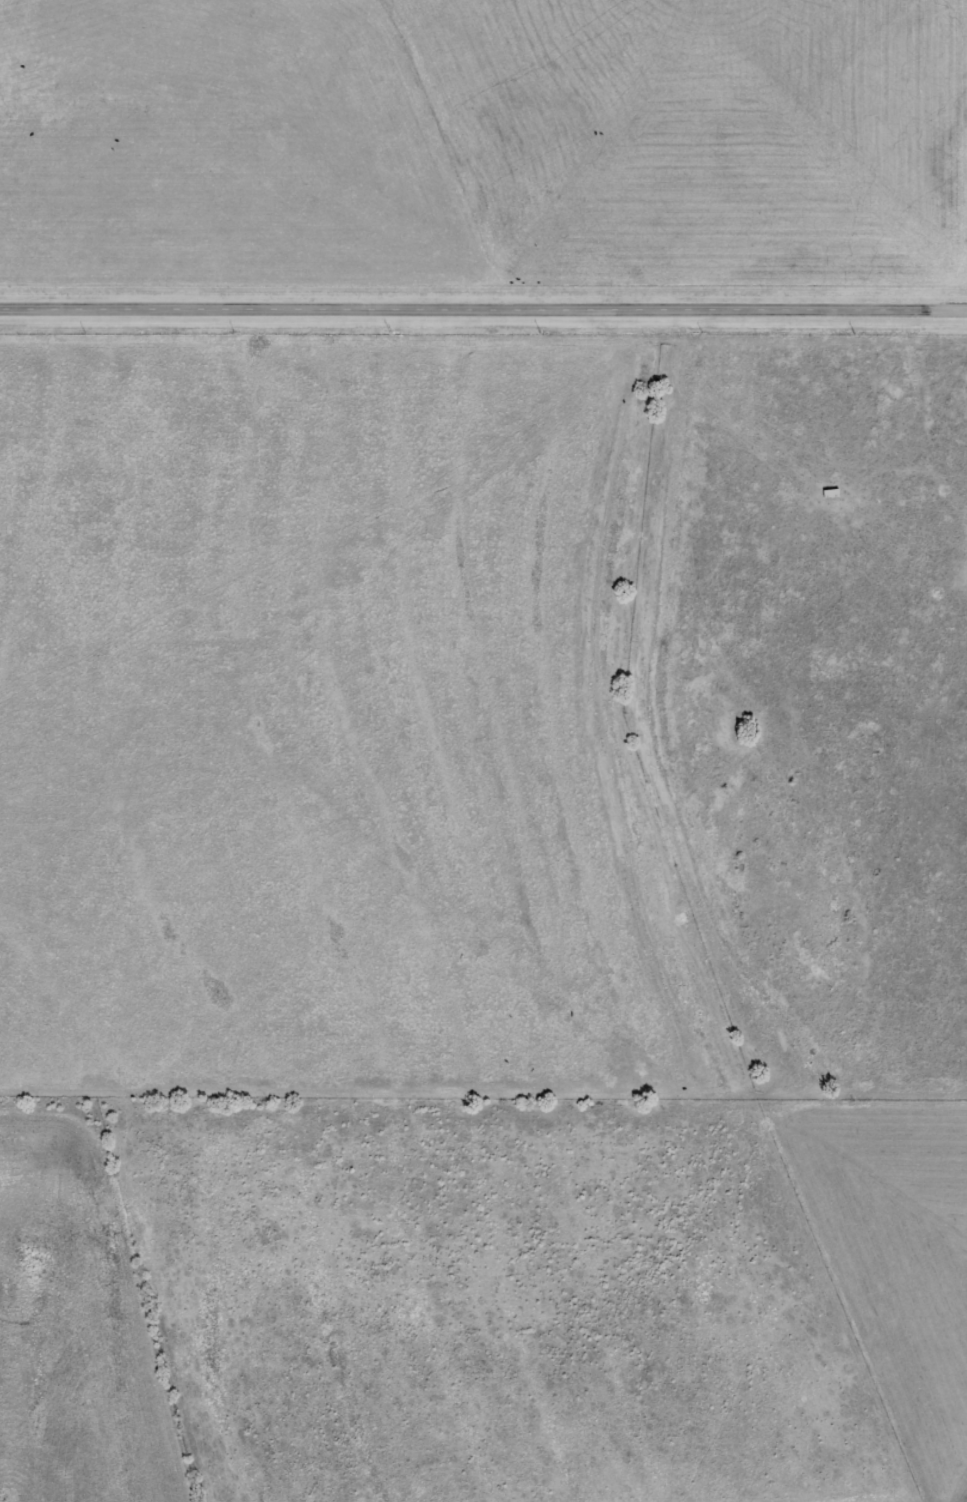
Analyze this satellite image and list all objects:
road: (483, 309)

